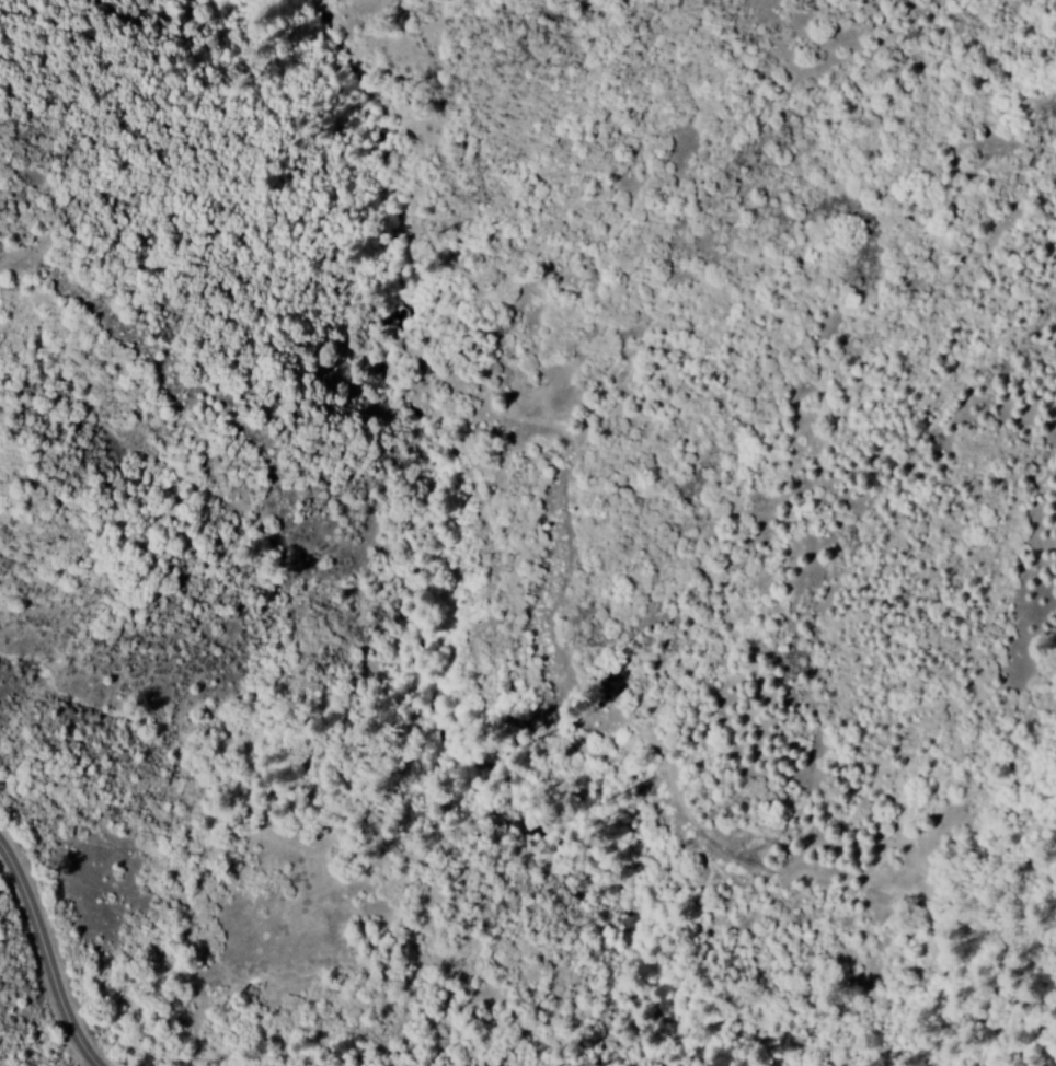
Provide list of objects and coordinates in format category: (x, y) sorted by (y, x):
road: (35, 784)
road: (90, 788)
road: (44, 958)

